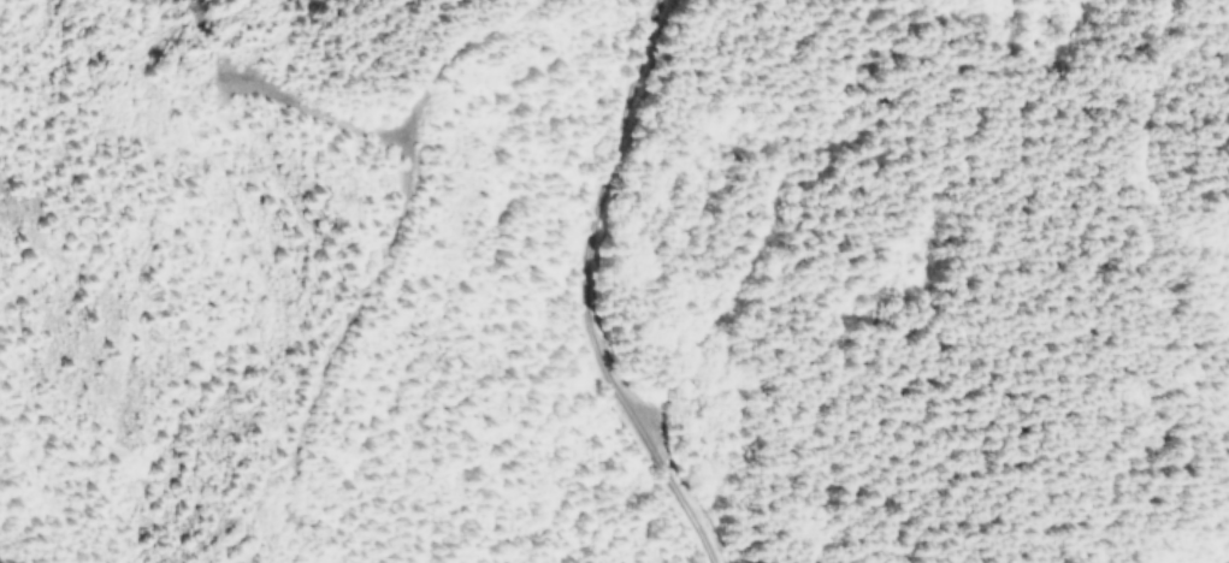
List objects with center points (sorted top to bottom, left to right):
road: (312, 55)
road: (502, 295)
road: (1080, 491)

